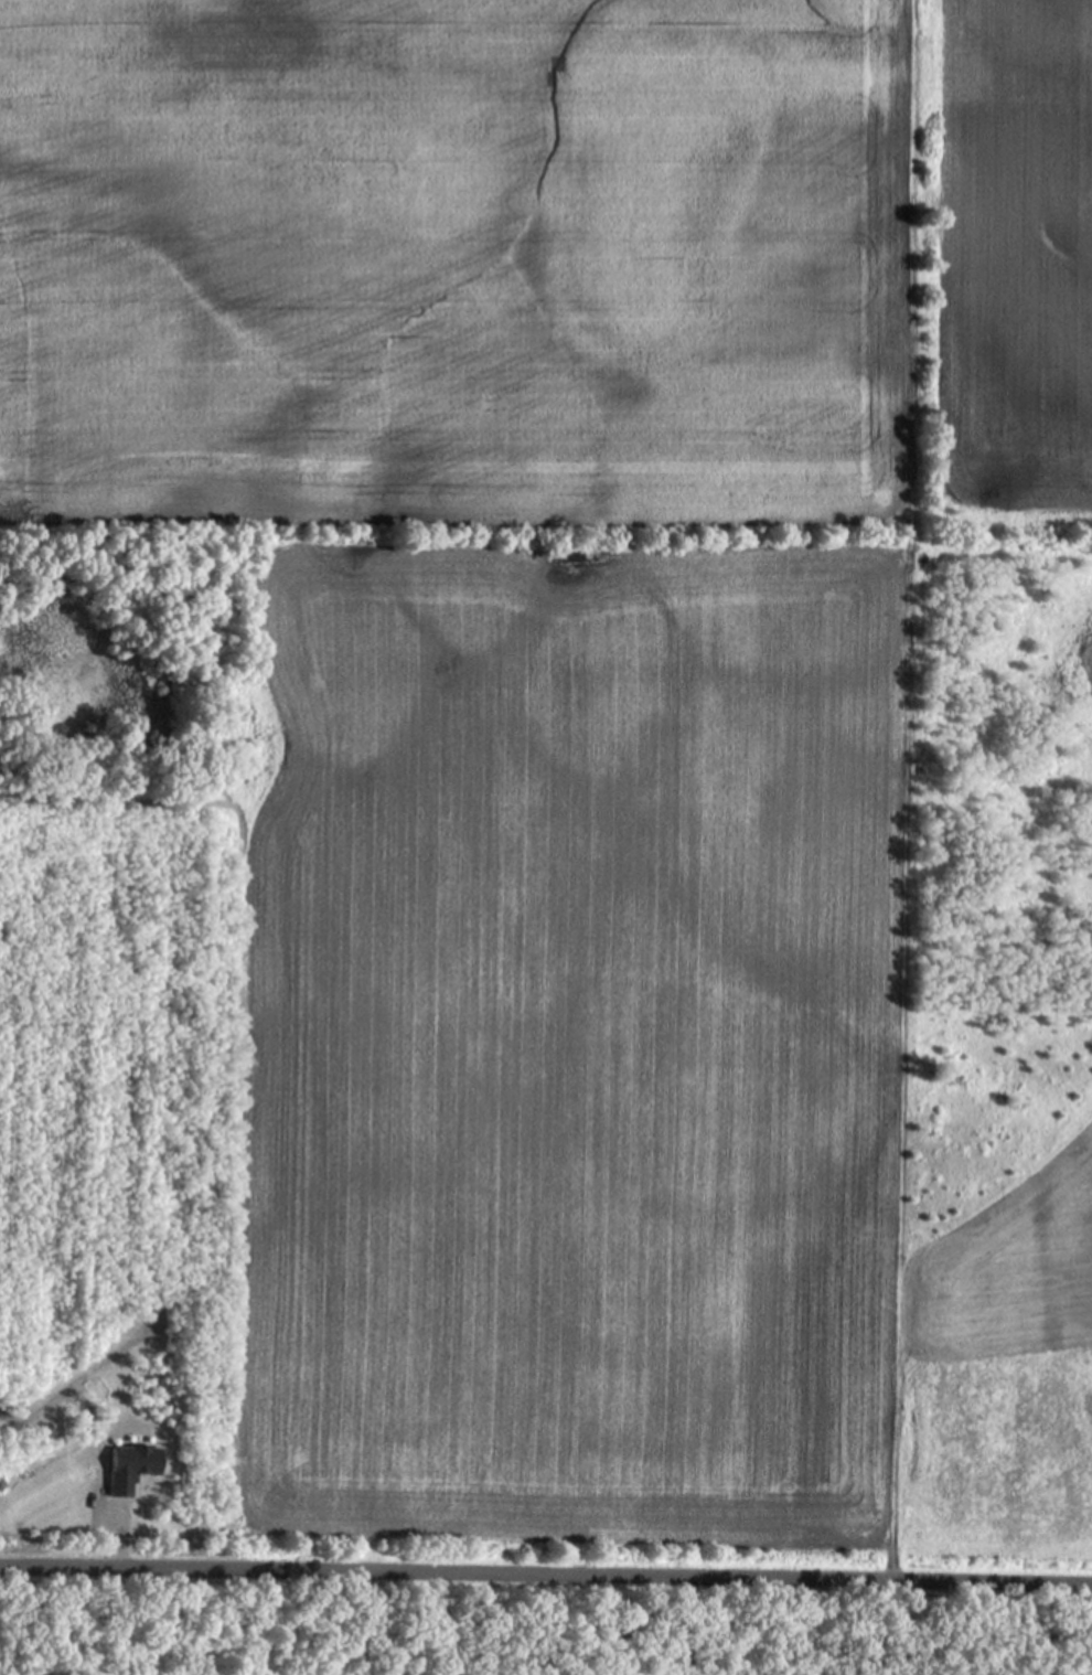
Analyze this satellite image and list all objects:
road: (546, 1573)
road: (714, 1625)

